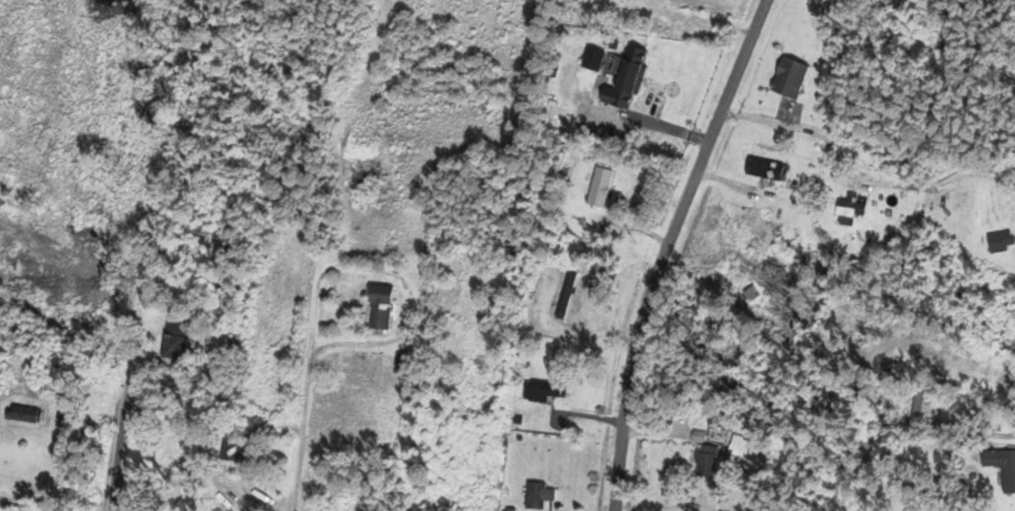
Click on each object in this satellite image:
building: (625, 77)
building: (788, 78)
road: (791, 125)
building: (763, 168)
building: (599, 187)
building: (846, 209)
building: (999, 241)
road: (664, 248)
building: (565, 295)
building: (379, 307)
building: (172, 346)
building: (399, 362)
building: (542, 390)
building: (921, 404)
building: (23, 413)
road: (302, 423)
road: (980, 432)
building: (731, 443)
building: (228, 452)
road: (116, 458)
building: (705, 459)
building: (1001, 467)
road: (28, 494)
building: (533, 498)

